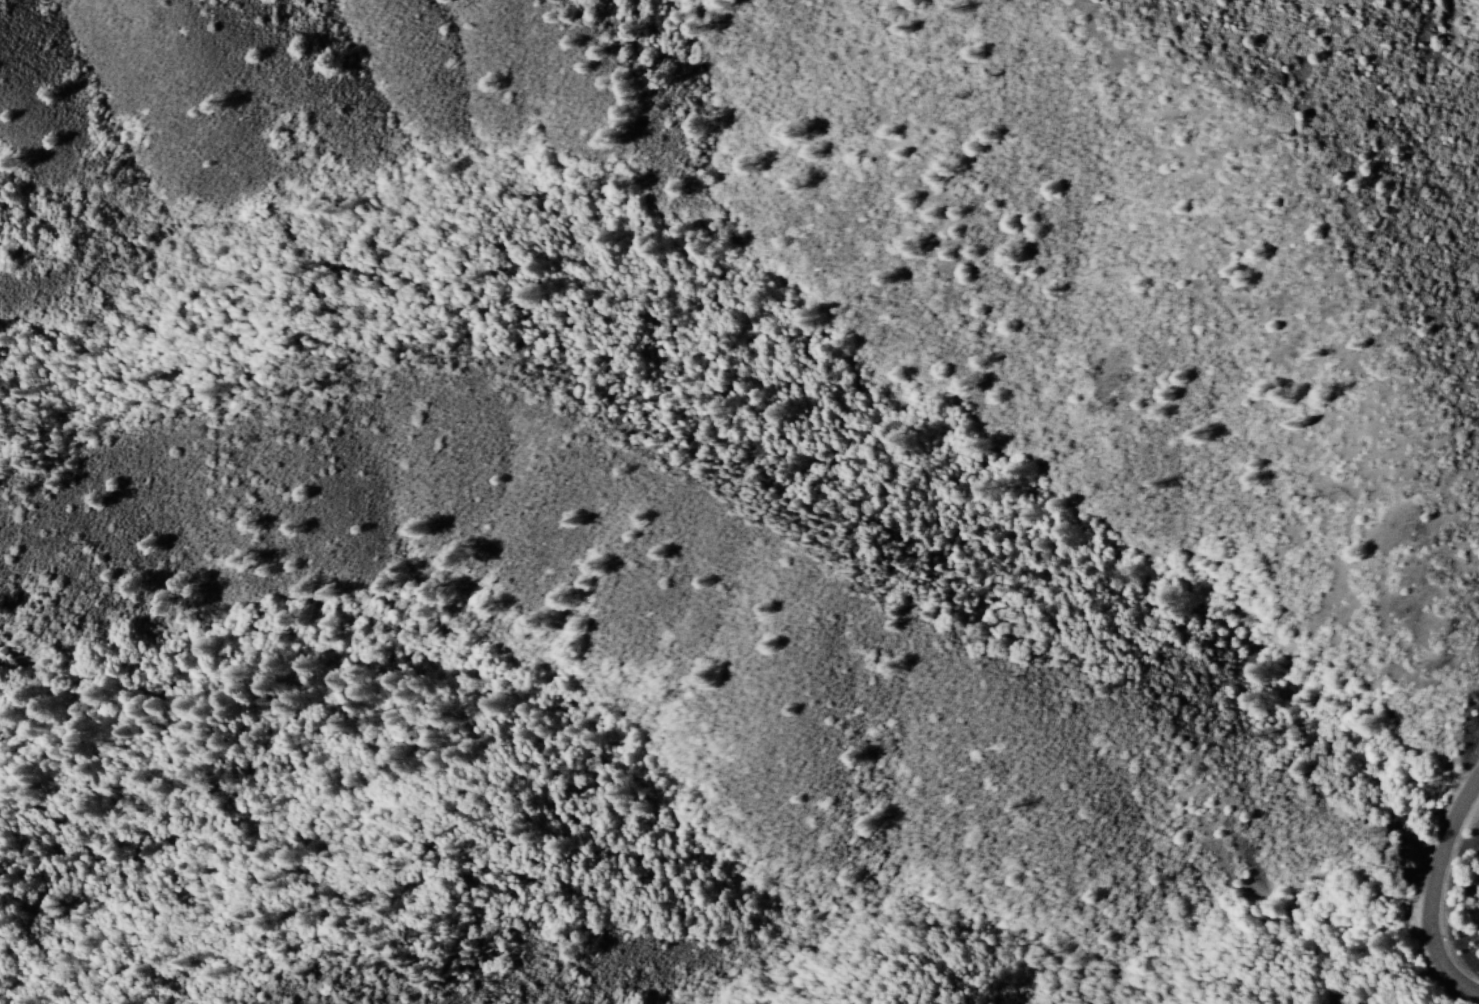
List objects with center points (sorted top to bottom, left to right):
road: (1438, 883)

